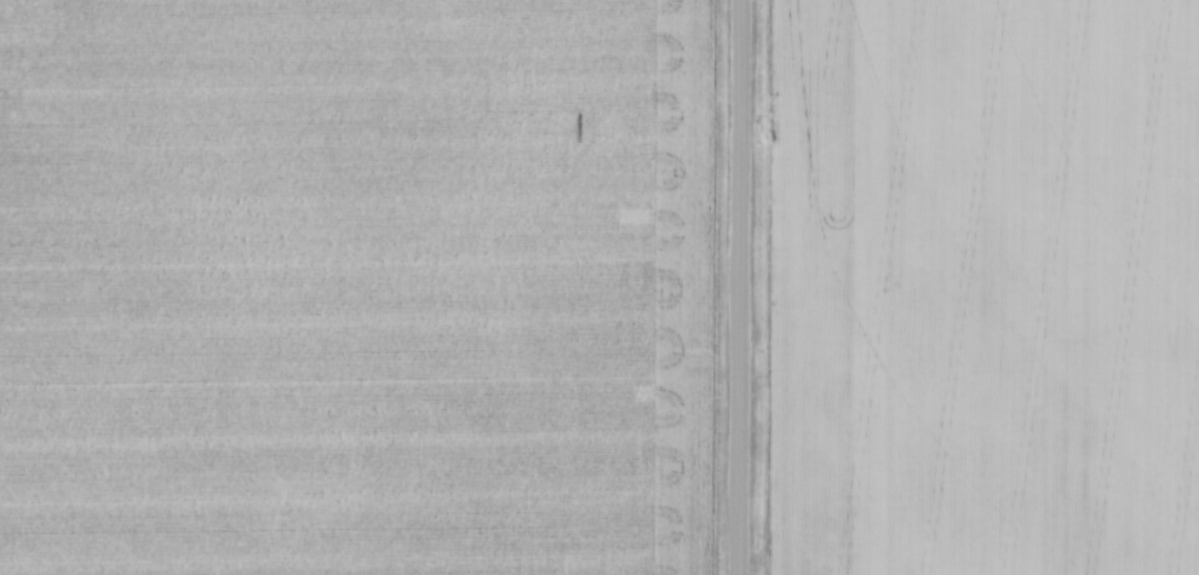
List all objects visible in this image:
road: (735, 287)

